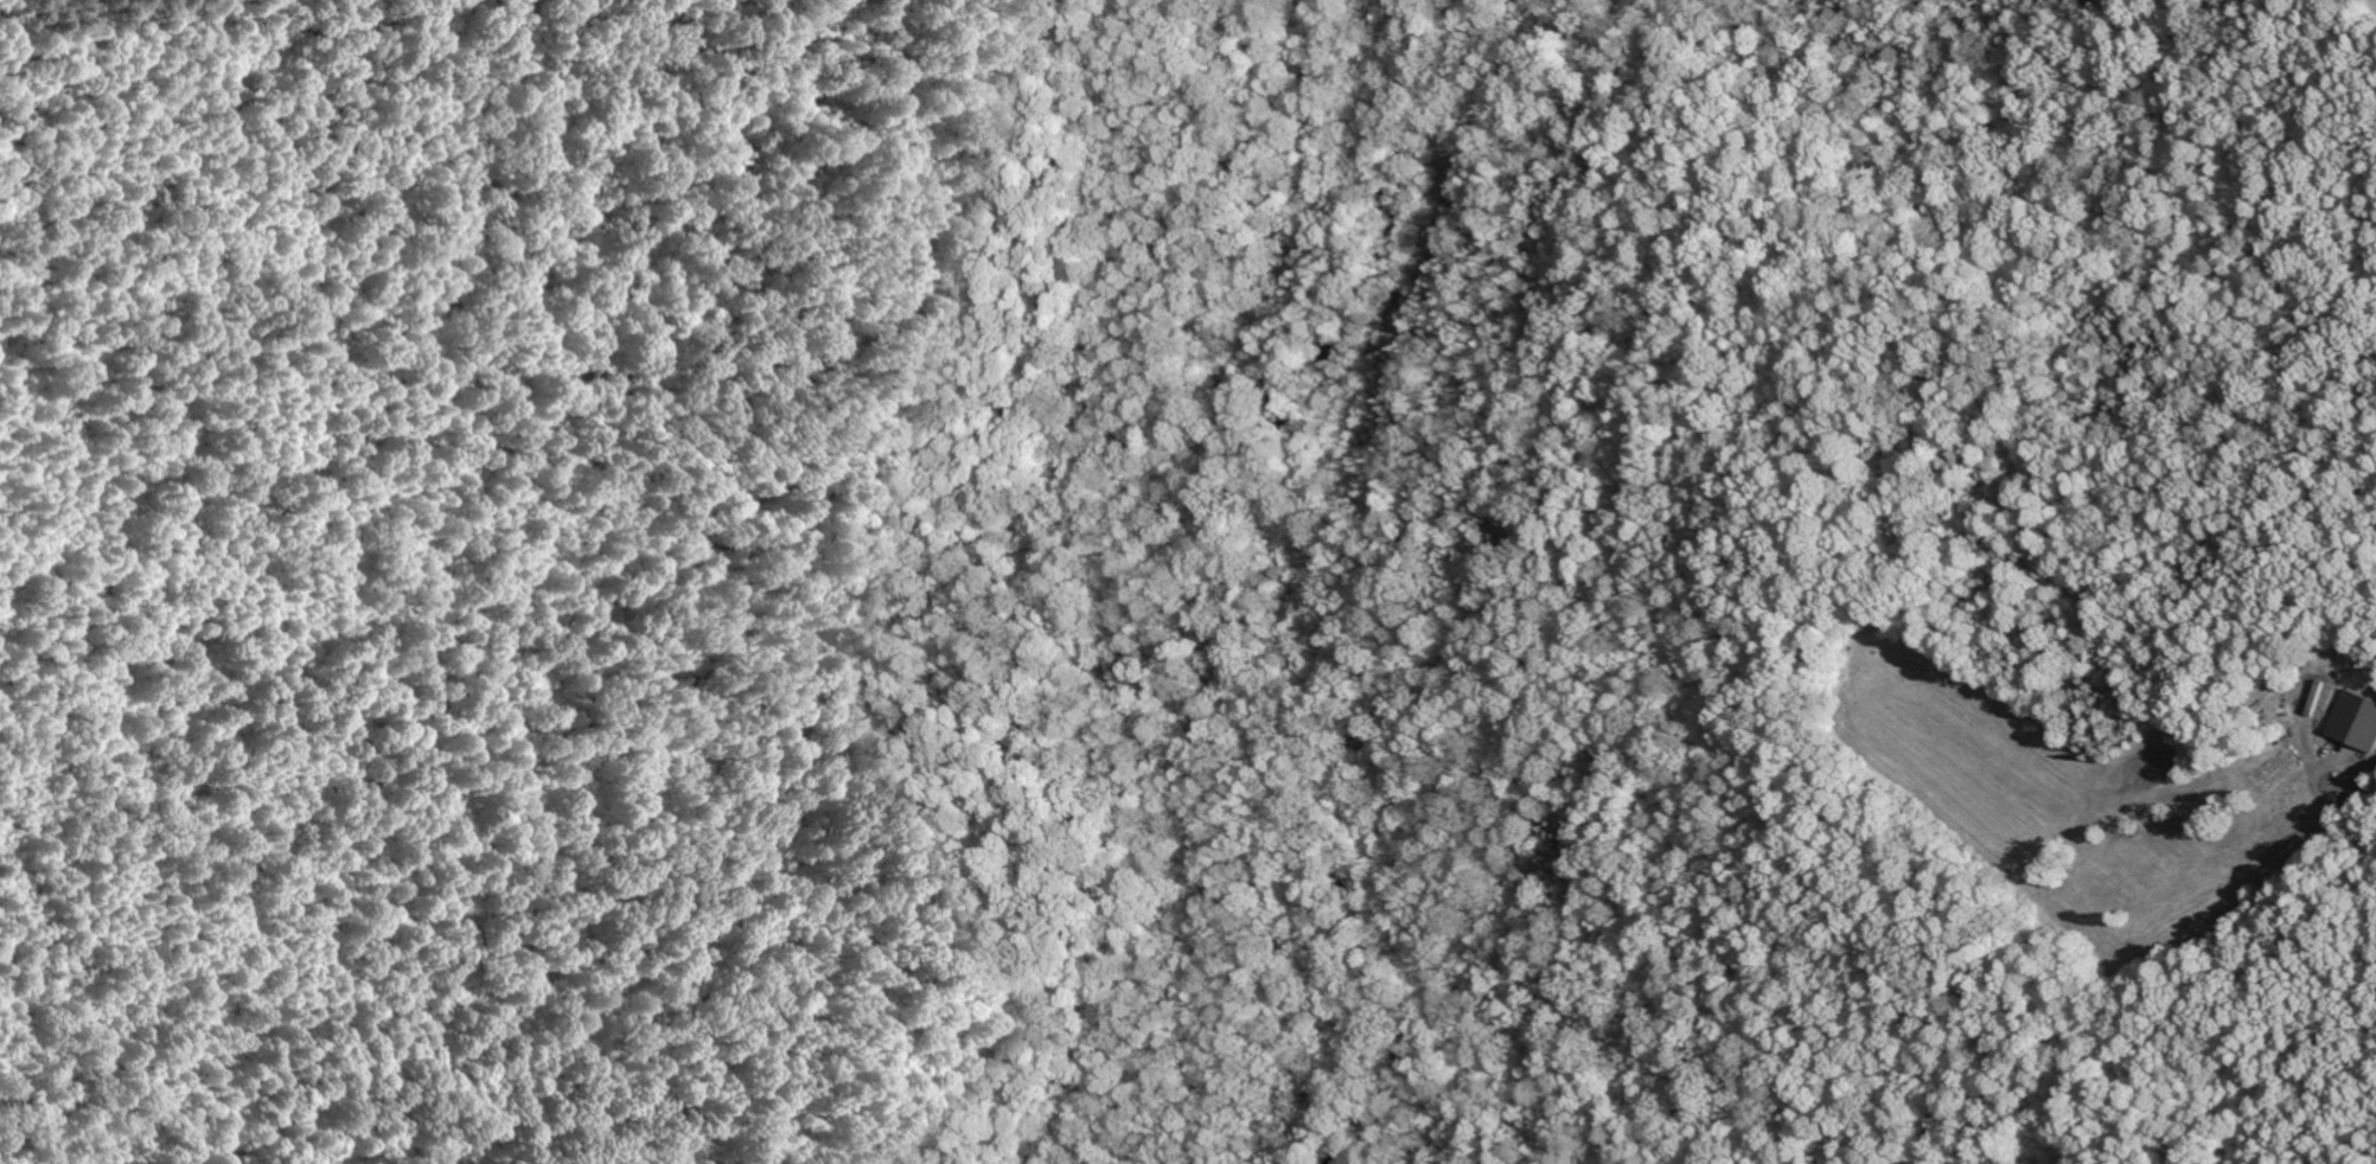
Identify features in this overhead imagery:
building: (2352, 721)

